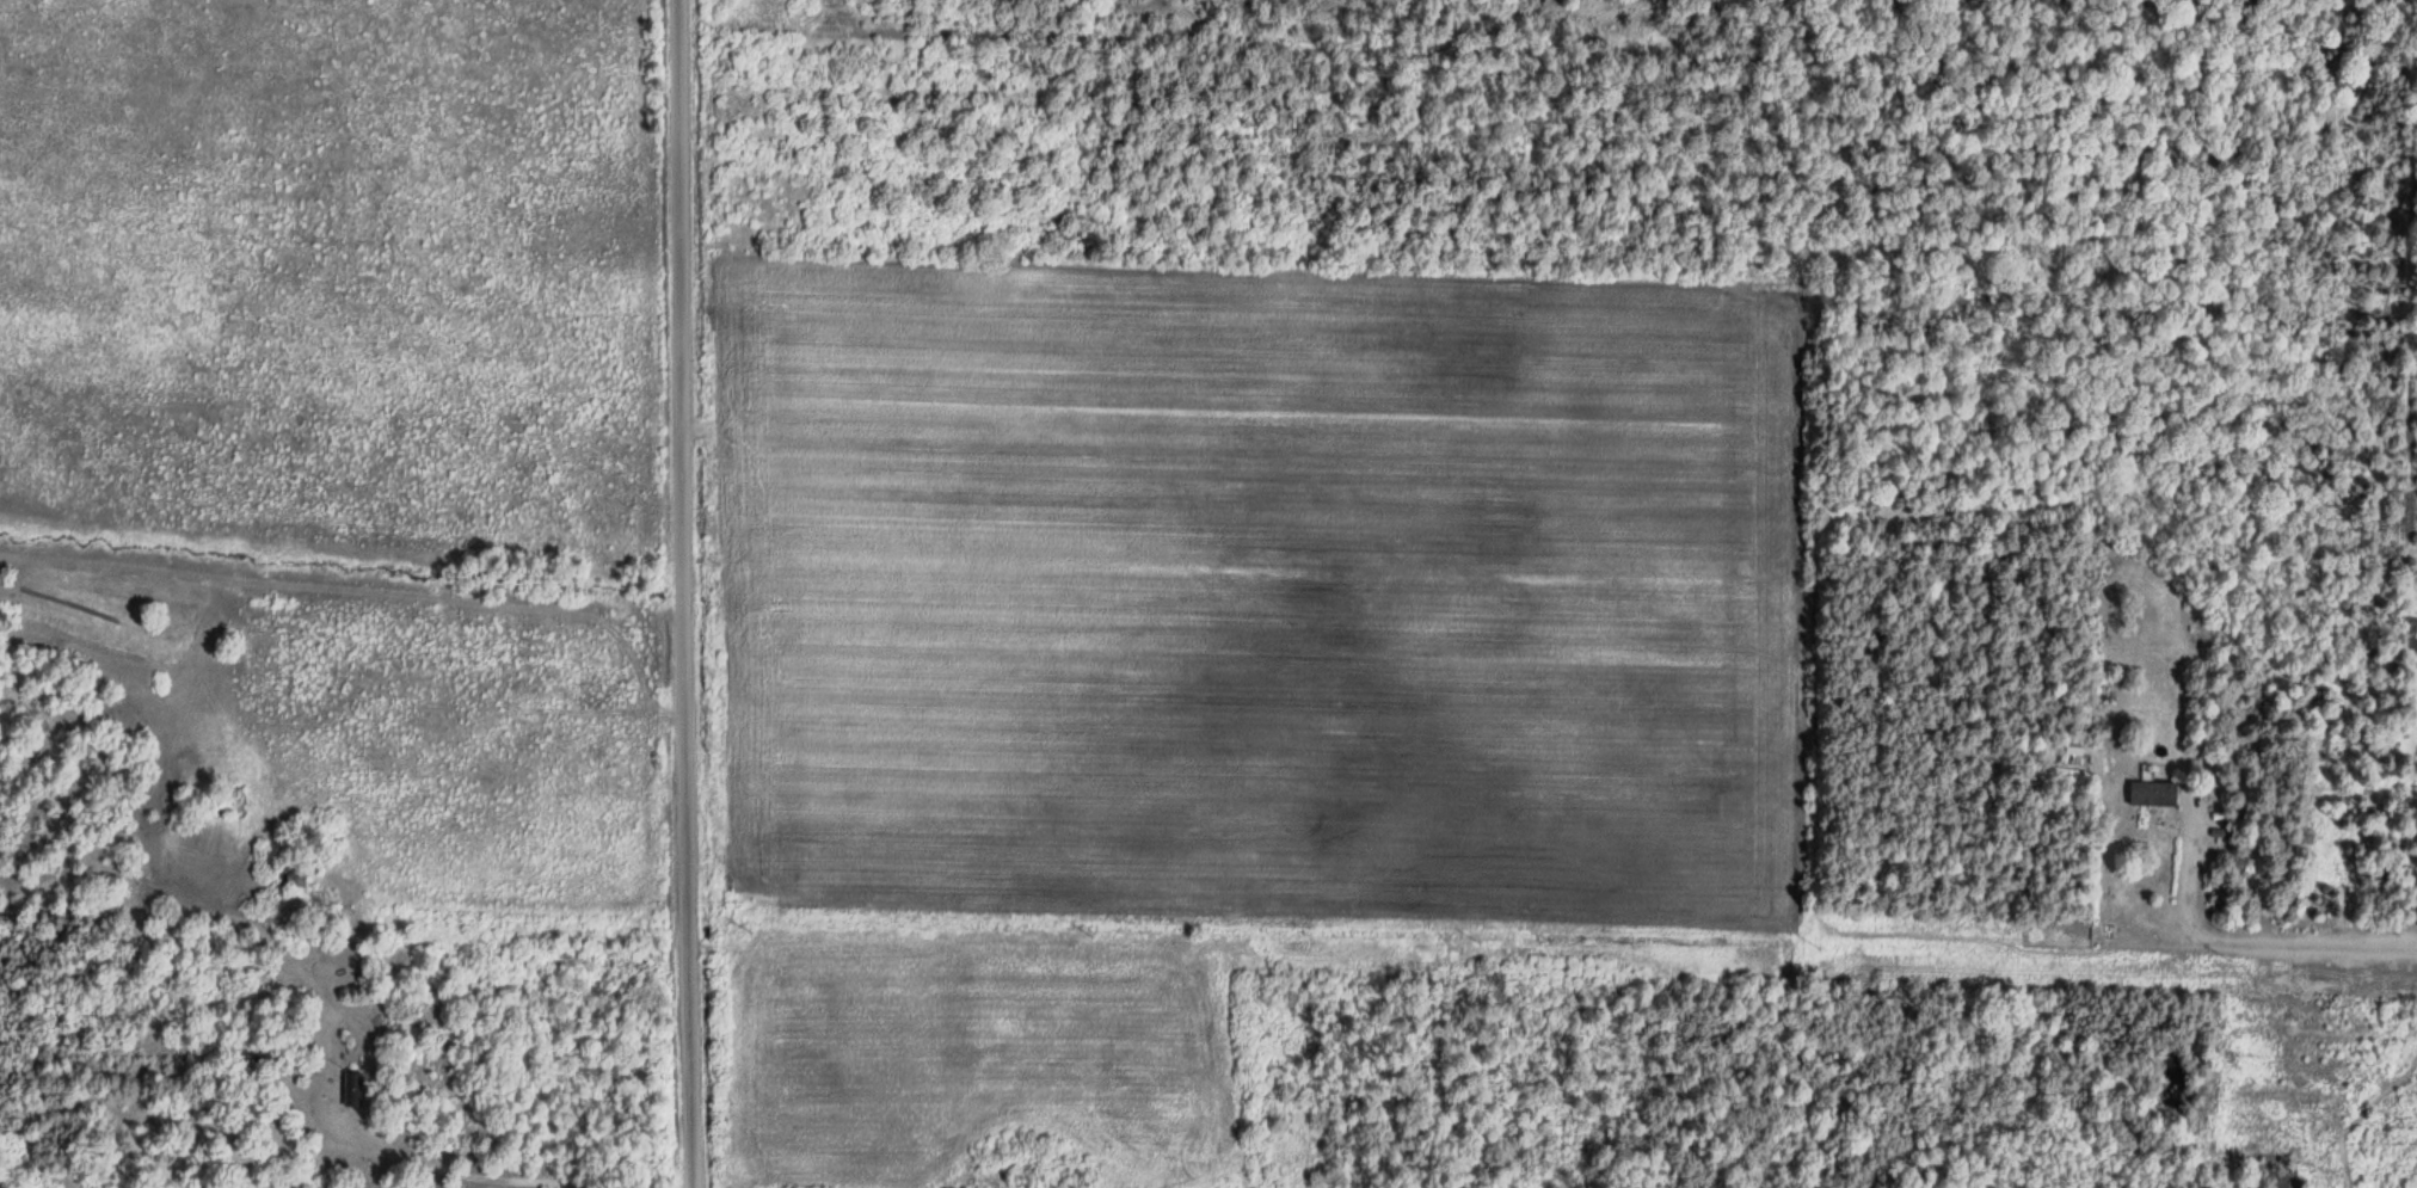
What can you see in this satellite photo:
road: (664, 593)
building: (2148, 795)
building: (290, 874)
road: (2192, 891)
building: (351, 1085)

